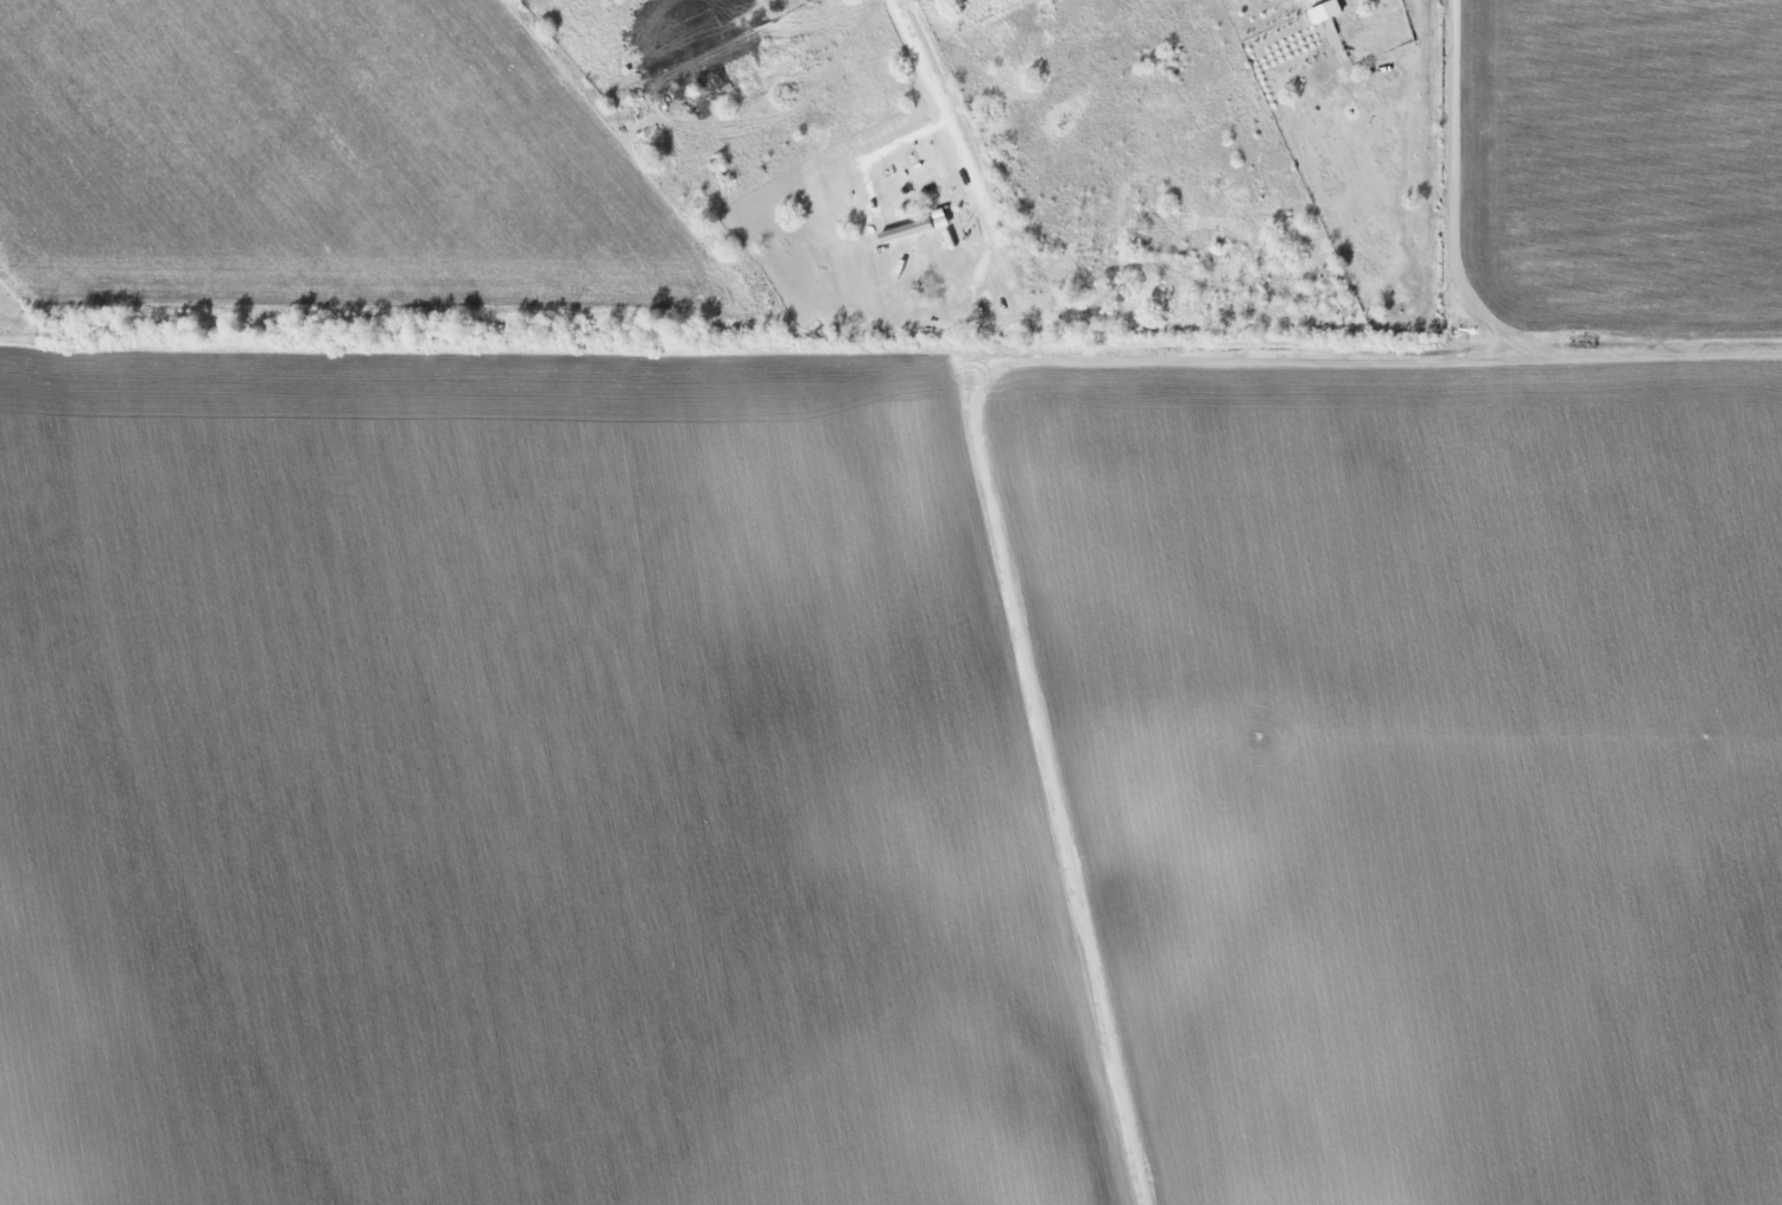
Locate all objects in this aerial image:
road: (938, 96)
road: (1383, 361)

